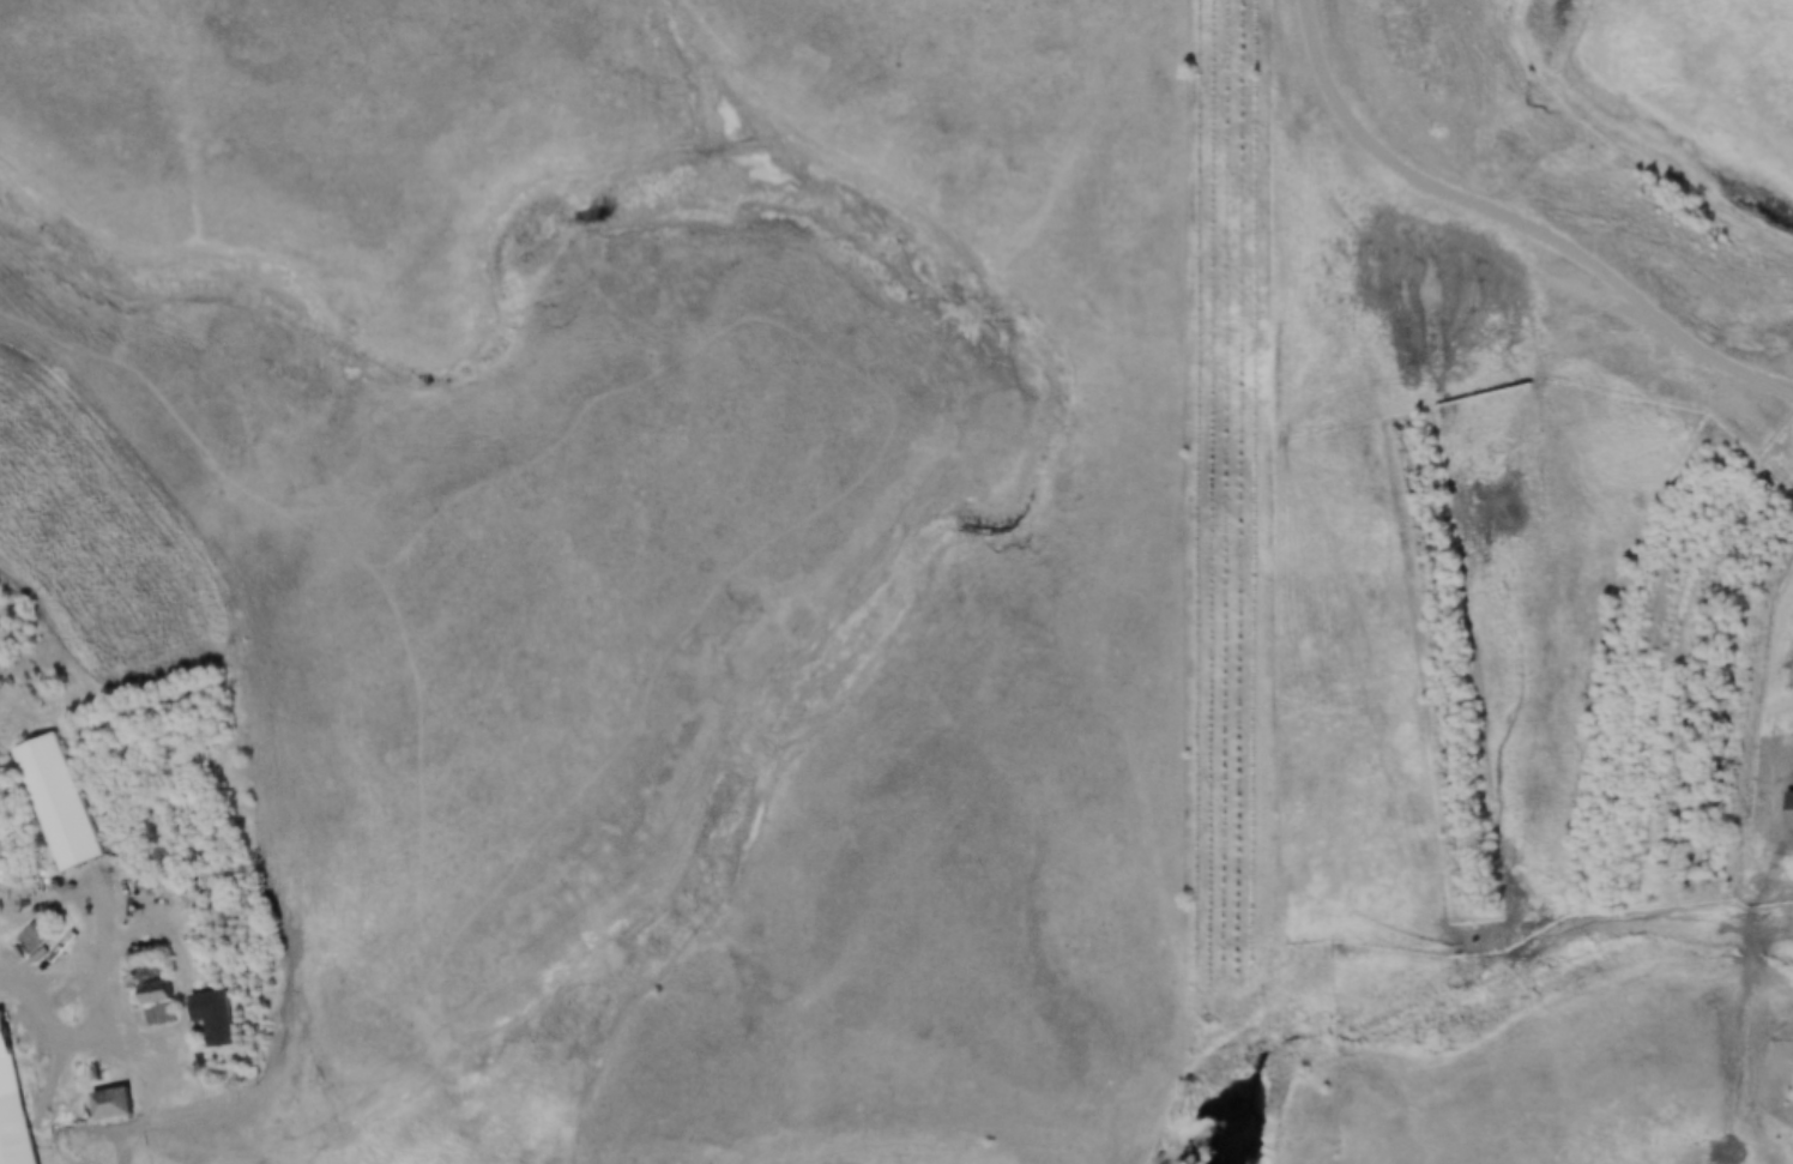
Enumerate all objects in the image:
road: (1498, 215)
building: (59, 801)
building: (1789, 808)
building: (36, 934)
building: (156, 994)
road: (102, 995)
building: (213, 1015)
building: (12, 1103)
building: (111, 1103)

